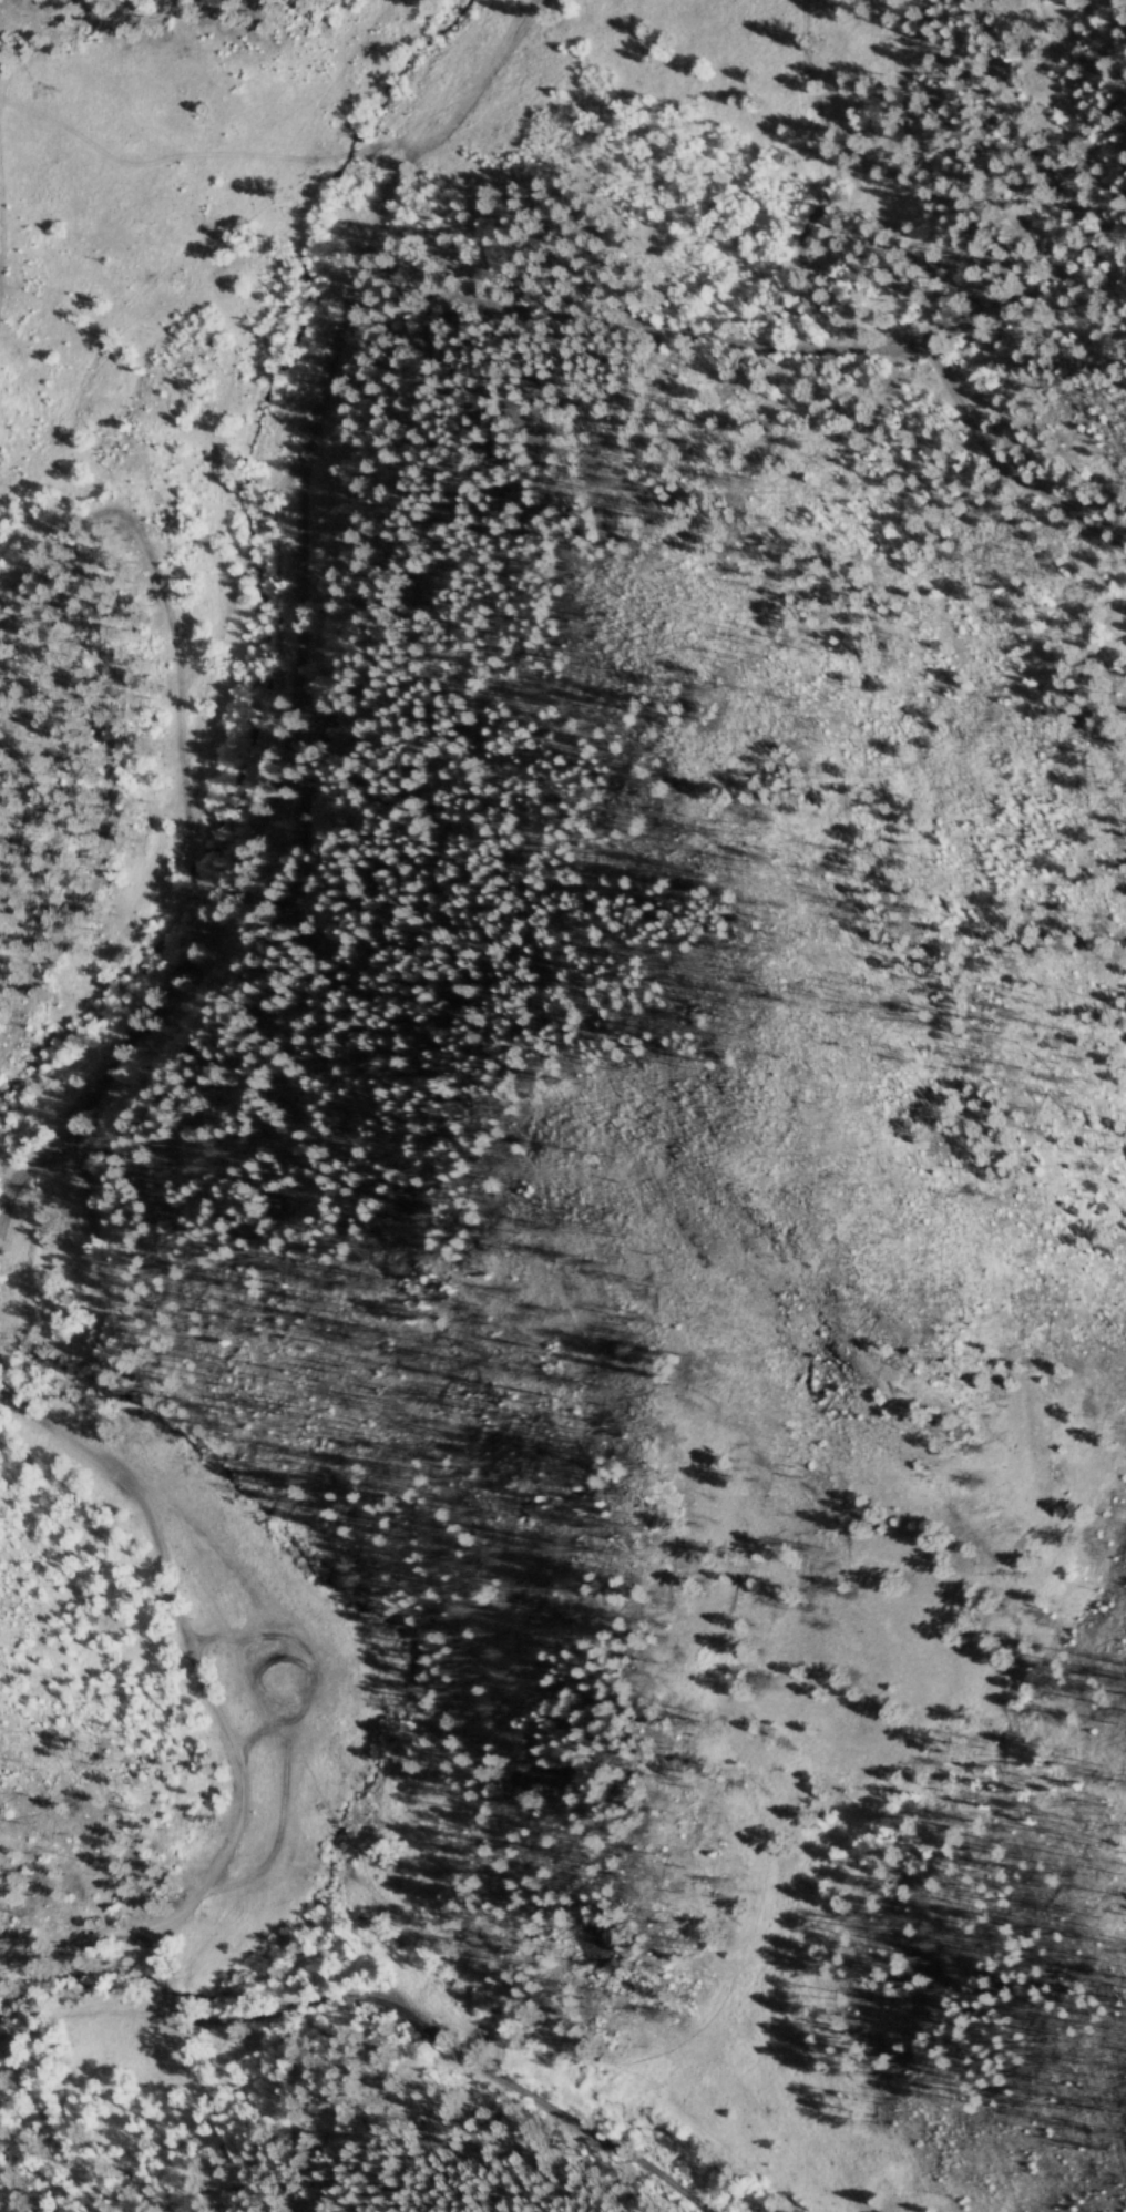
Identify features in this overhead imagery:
road: (57, 35)
road: (1, 234)
road: (432, 399)
road: (301, 572)
road: (172, 644)
road: (111, 793)
road: (28, 1171)
road: (222, 1723)

